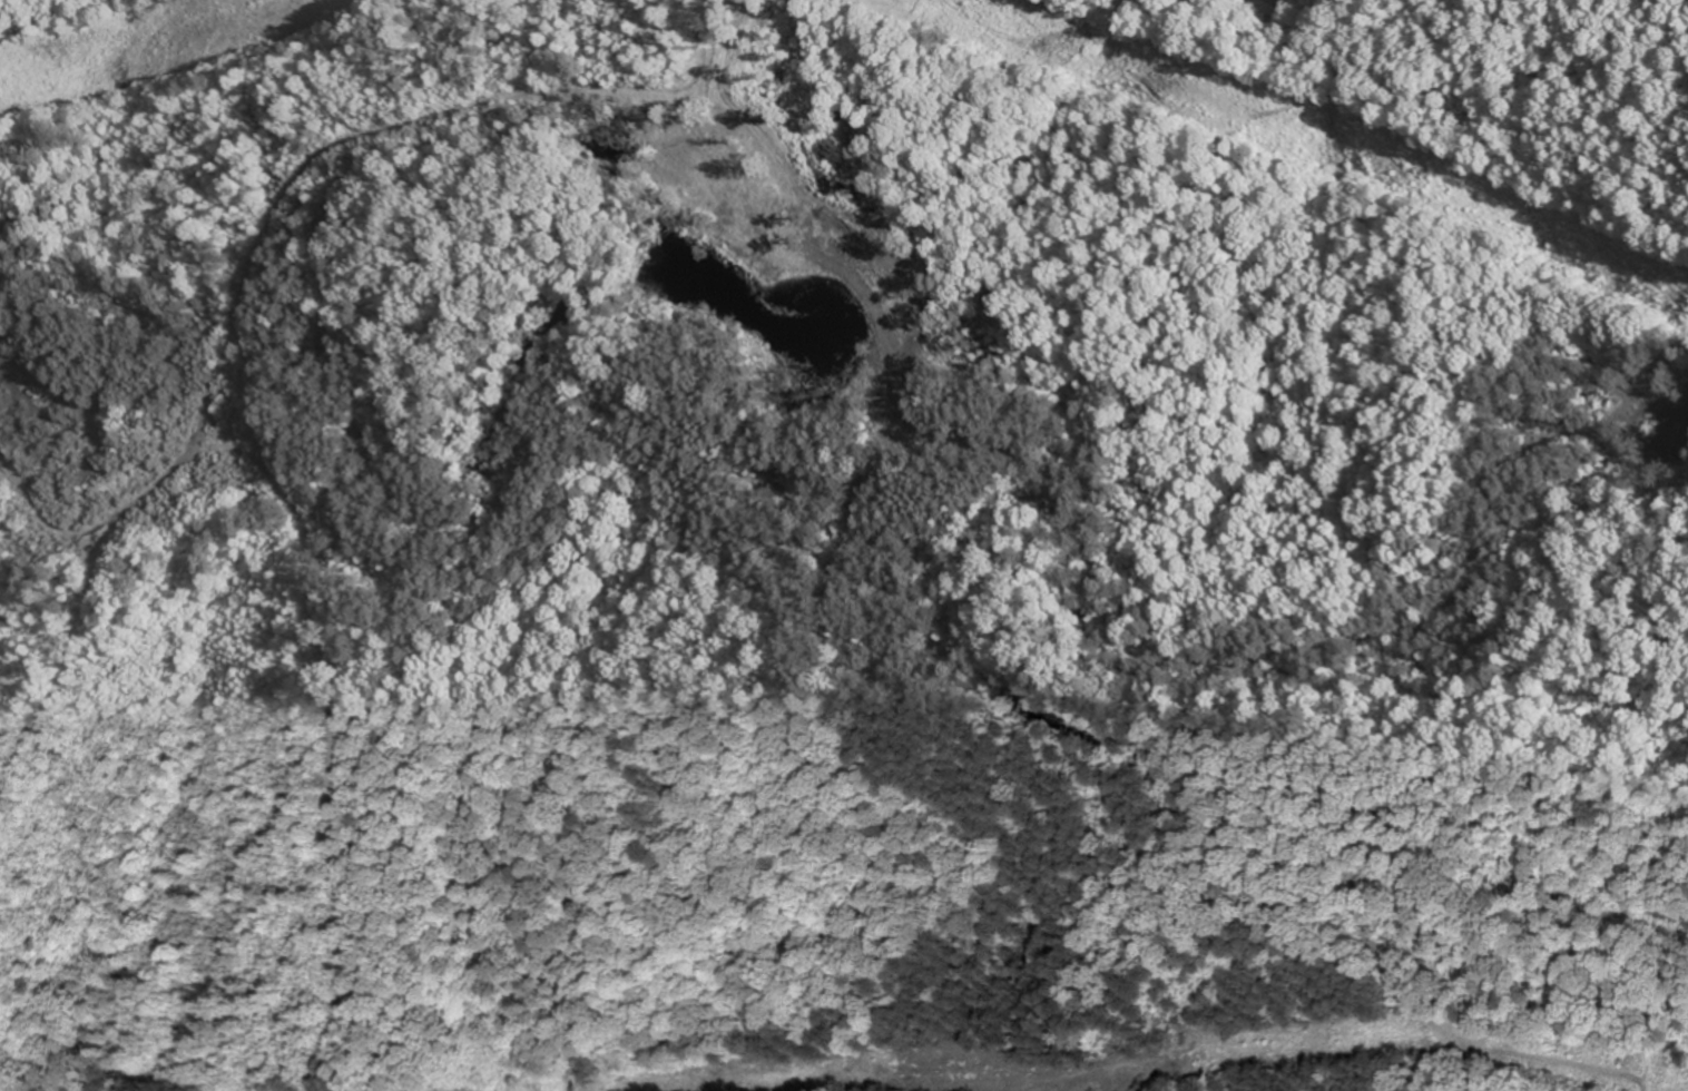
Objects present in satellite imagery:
road: (1606, 643)

